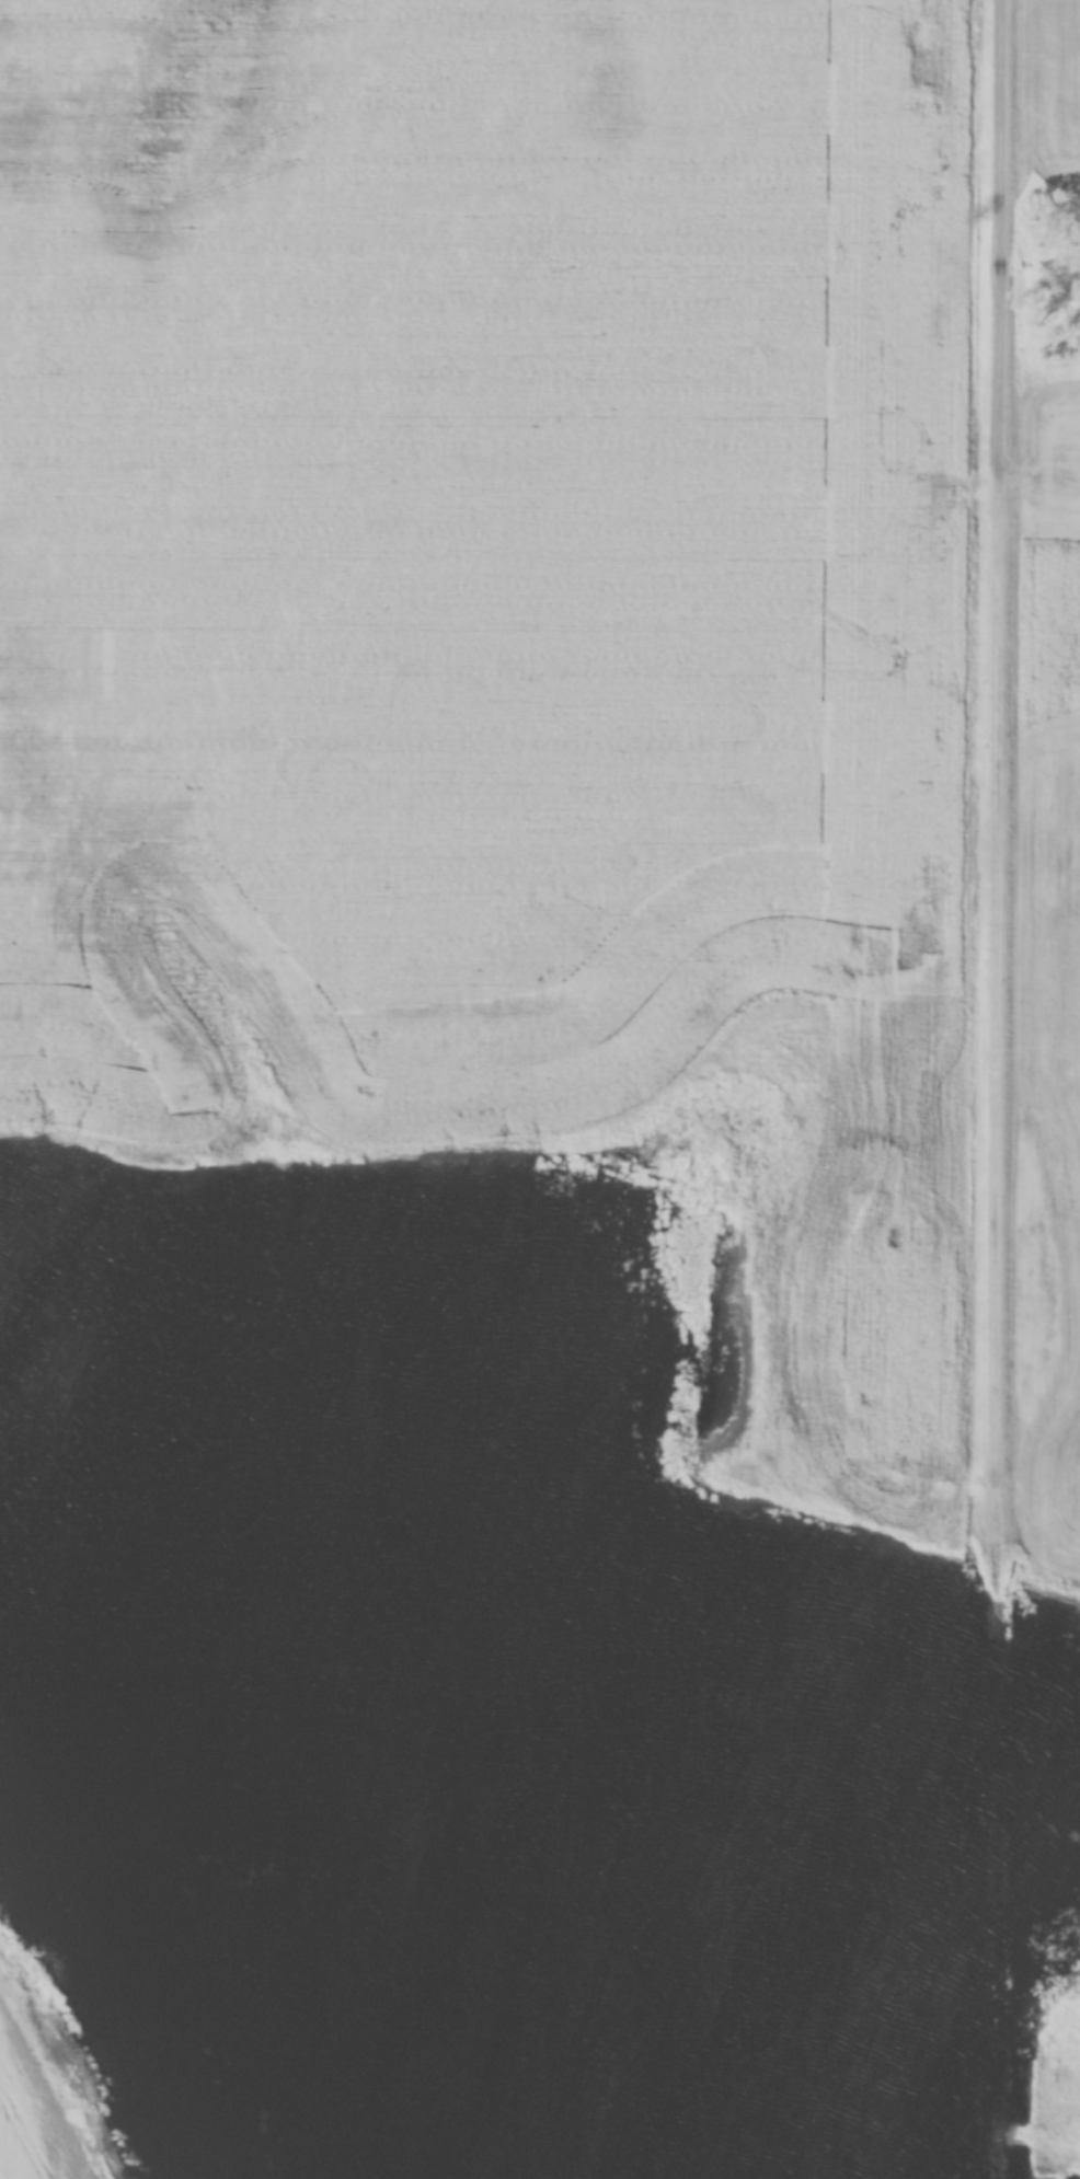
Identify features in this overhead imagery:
road: (1006, 795)

